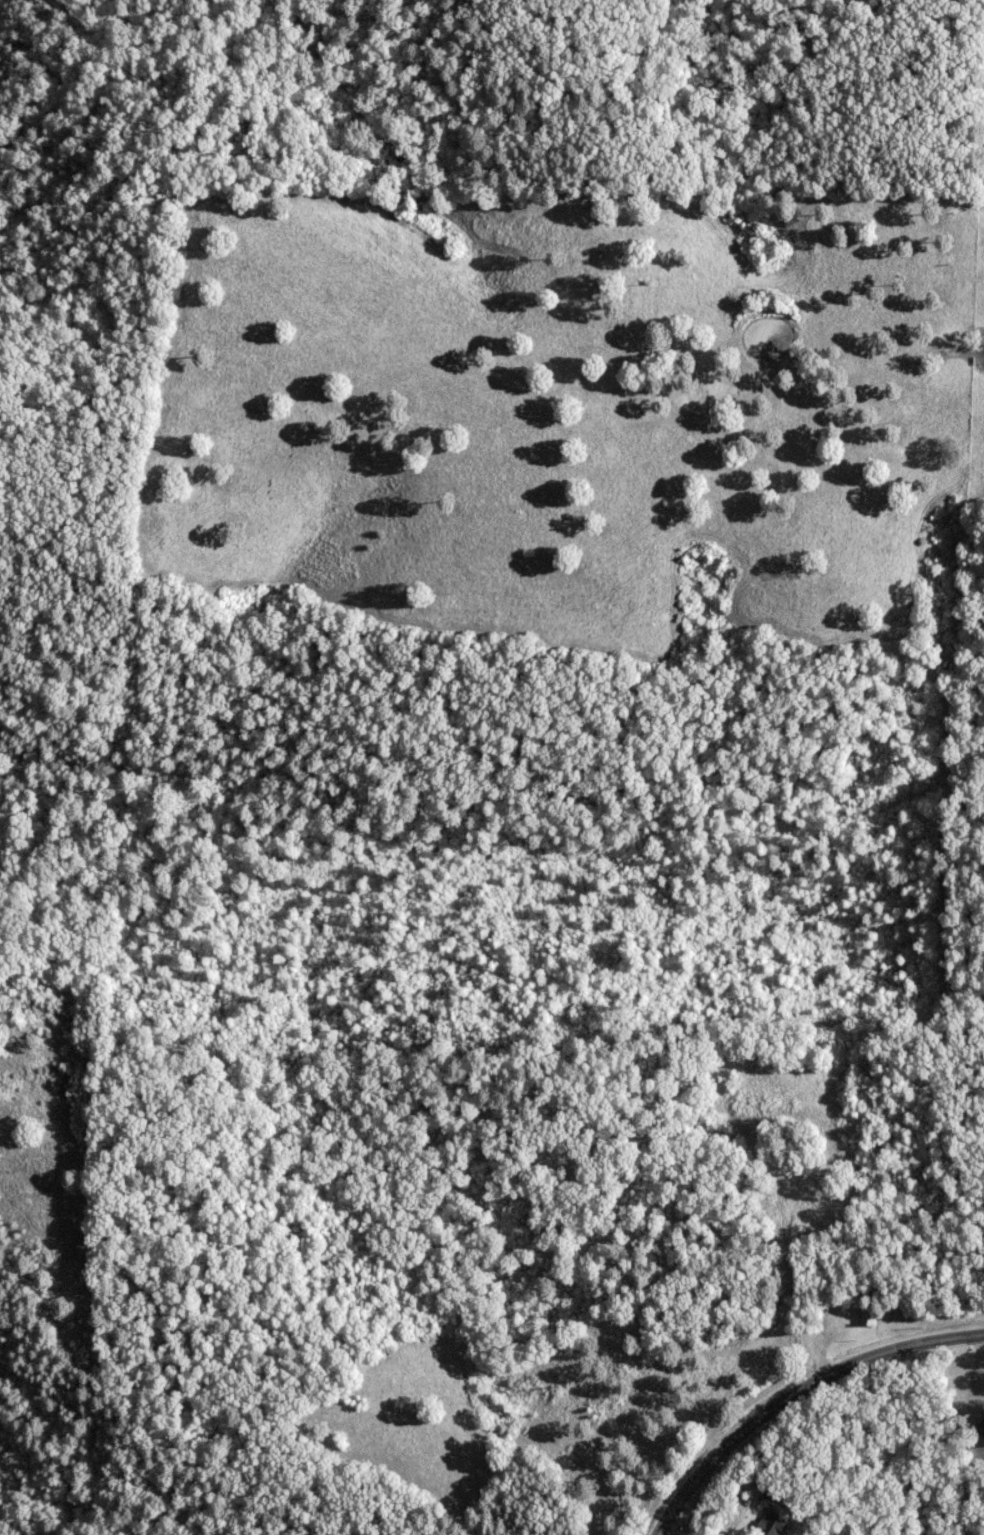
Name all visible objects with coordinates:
road: (796, 1394)
building: (980, 1426)
building: (770, 1523)

